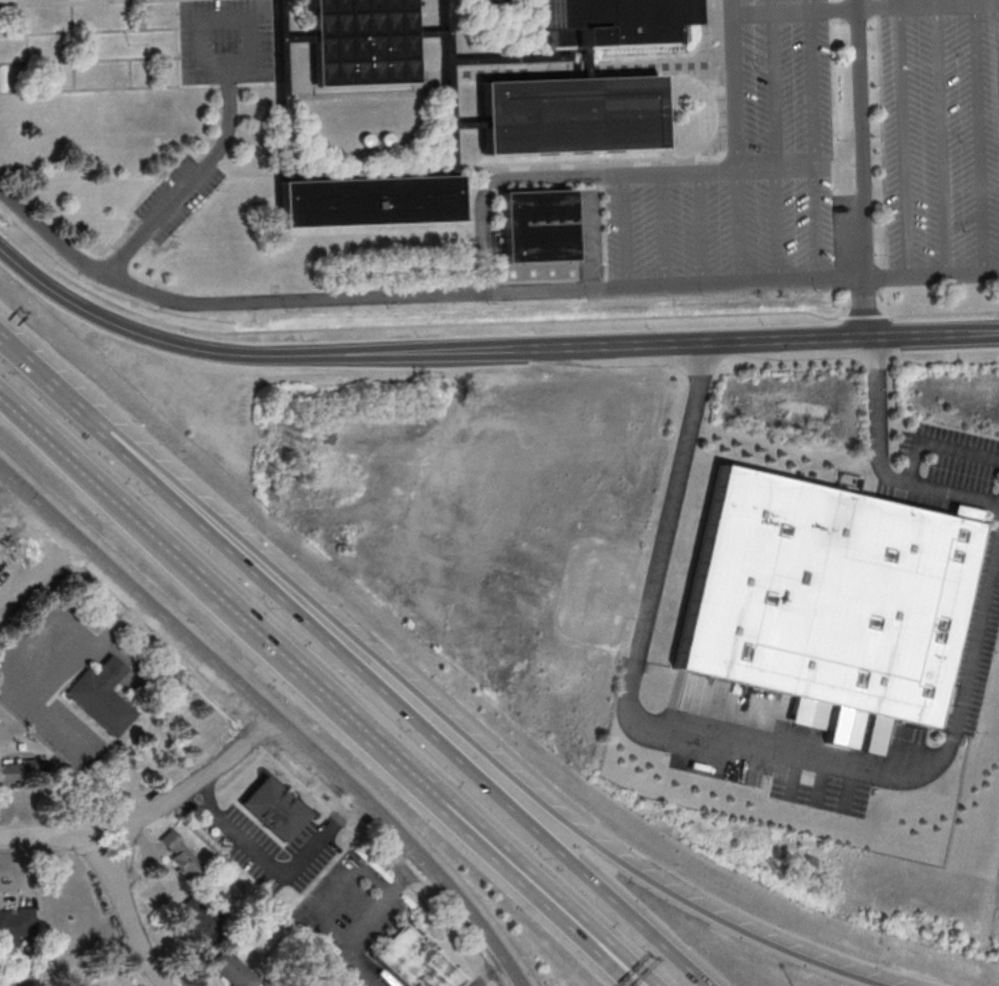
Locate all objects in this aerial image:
road: (810, 4)
road: (771, 5)
road: (877, 6)
road: (730, 7)
road: (833, 8)
road: (791, 10)
road: (751, 12)
building: (611, 23)
parking lot: (225, 41)
building: (360, 41)
road: (812, 88)
road: (774, 90)
road: (734, 92)
building: (570, 114)
road: (903, 138)
parking lot: (940, 139)
road: (795, 168)
road: (861, 169)
road: (756, 170)
road: (717, 172)
building: (846, 172)
road: (679, 173)
parking lot: (740, 173)
road: (641, 175)
road: (499, 179)
road: (195, 180)
building: (367, 200)
road: (815, 223)
building: (536, 225)
road: (778, 225)
road: (739, 226)
road: (700, 228)
road: (662, 229)
road: (625, 231)
road: (885, 277)
road: (413, 295)
road: (945, 313)
road: (868, 316)
road: (409, 326)
road: (982, 335)
road: (915, 338)
road: (819, 342)
road: (738, 345)
road: (649, 348)
road: (564, 351)
road: (251, 356)
road: (48, 380)
road: (889, 478)
road: (953, 492)
road: (127, 510)
building: (826, 596)
building: (102, 695)
road: (402, 705)
road: (352, 712)
road: (269, 718)
road: (714, 739)
road: (467, 746)
building: (18, 772)
road: (176, 802)
building: (273, 809)
road: (28, 838)
road: (122, 852)
road: (89, 853)
building: (182, 856)
road: (277, 868)
road: (540, 890)
road: (553, 893)
road: (337, 896)
building: (201, 919)
road: (362, 924)
building: (15, 925)
road: (137, 934)
building: (415, 961)
building: (233, 970)
road: (486, 973)
road: (637, 982)
building: (95, 985)

